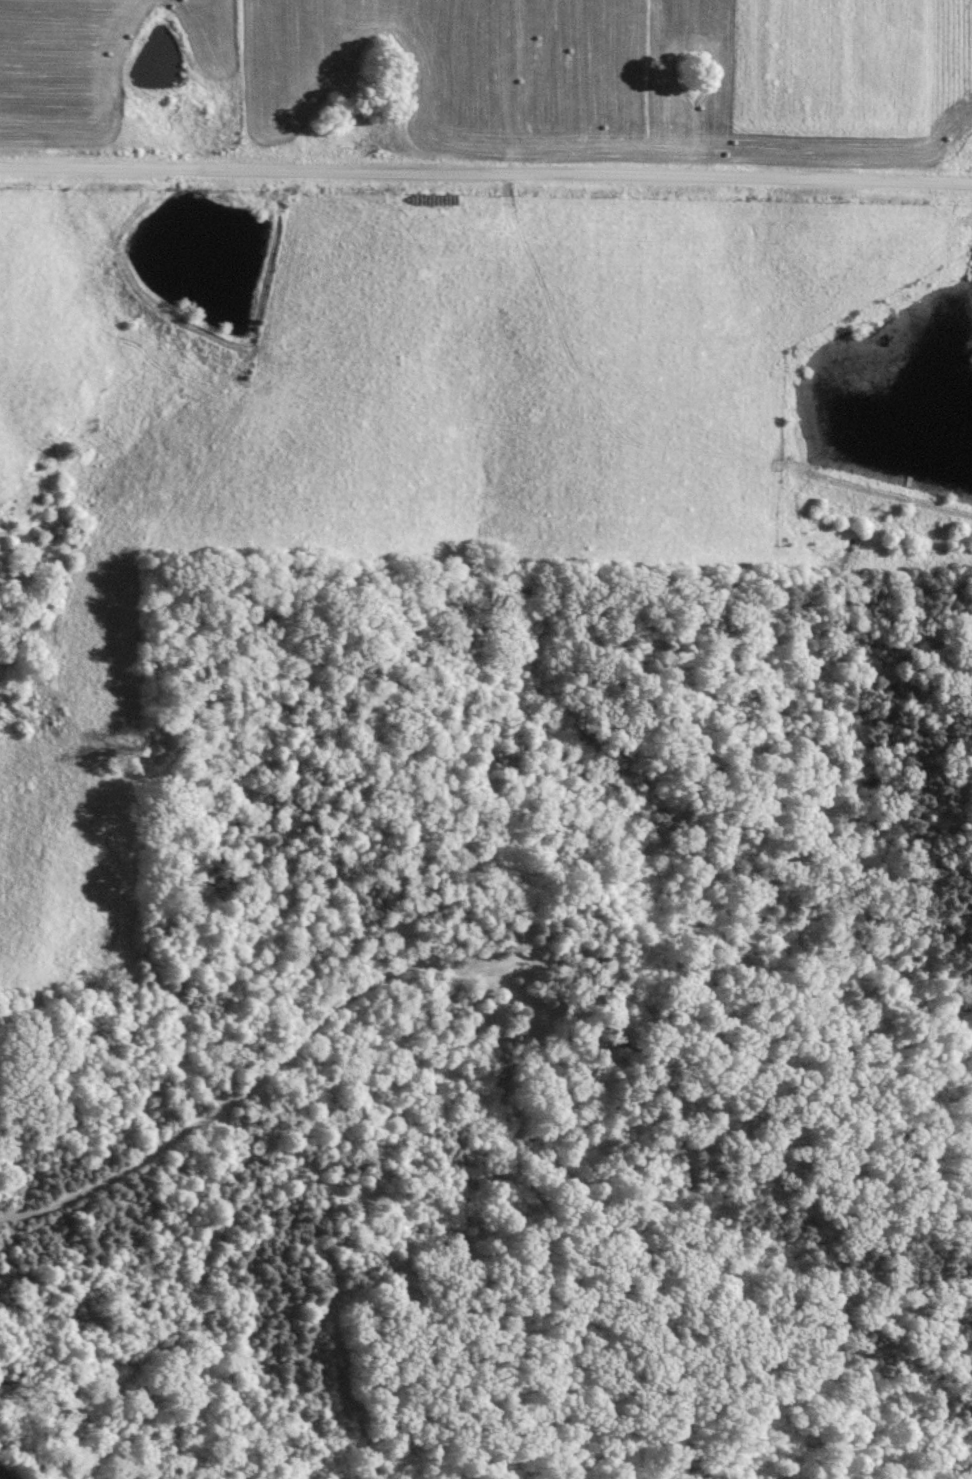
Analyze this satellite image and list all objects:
road: (486, 173)

